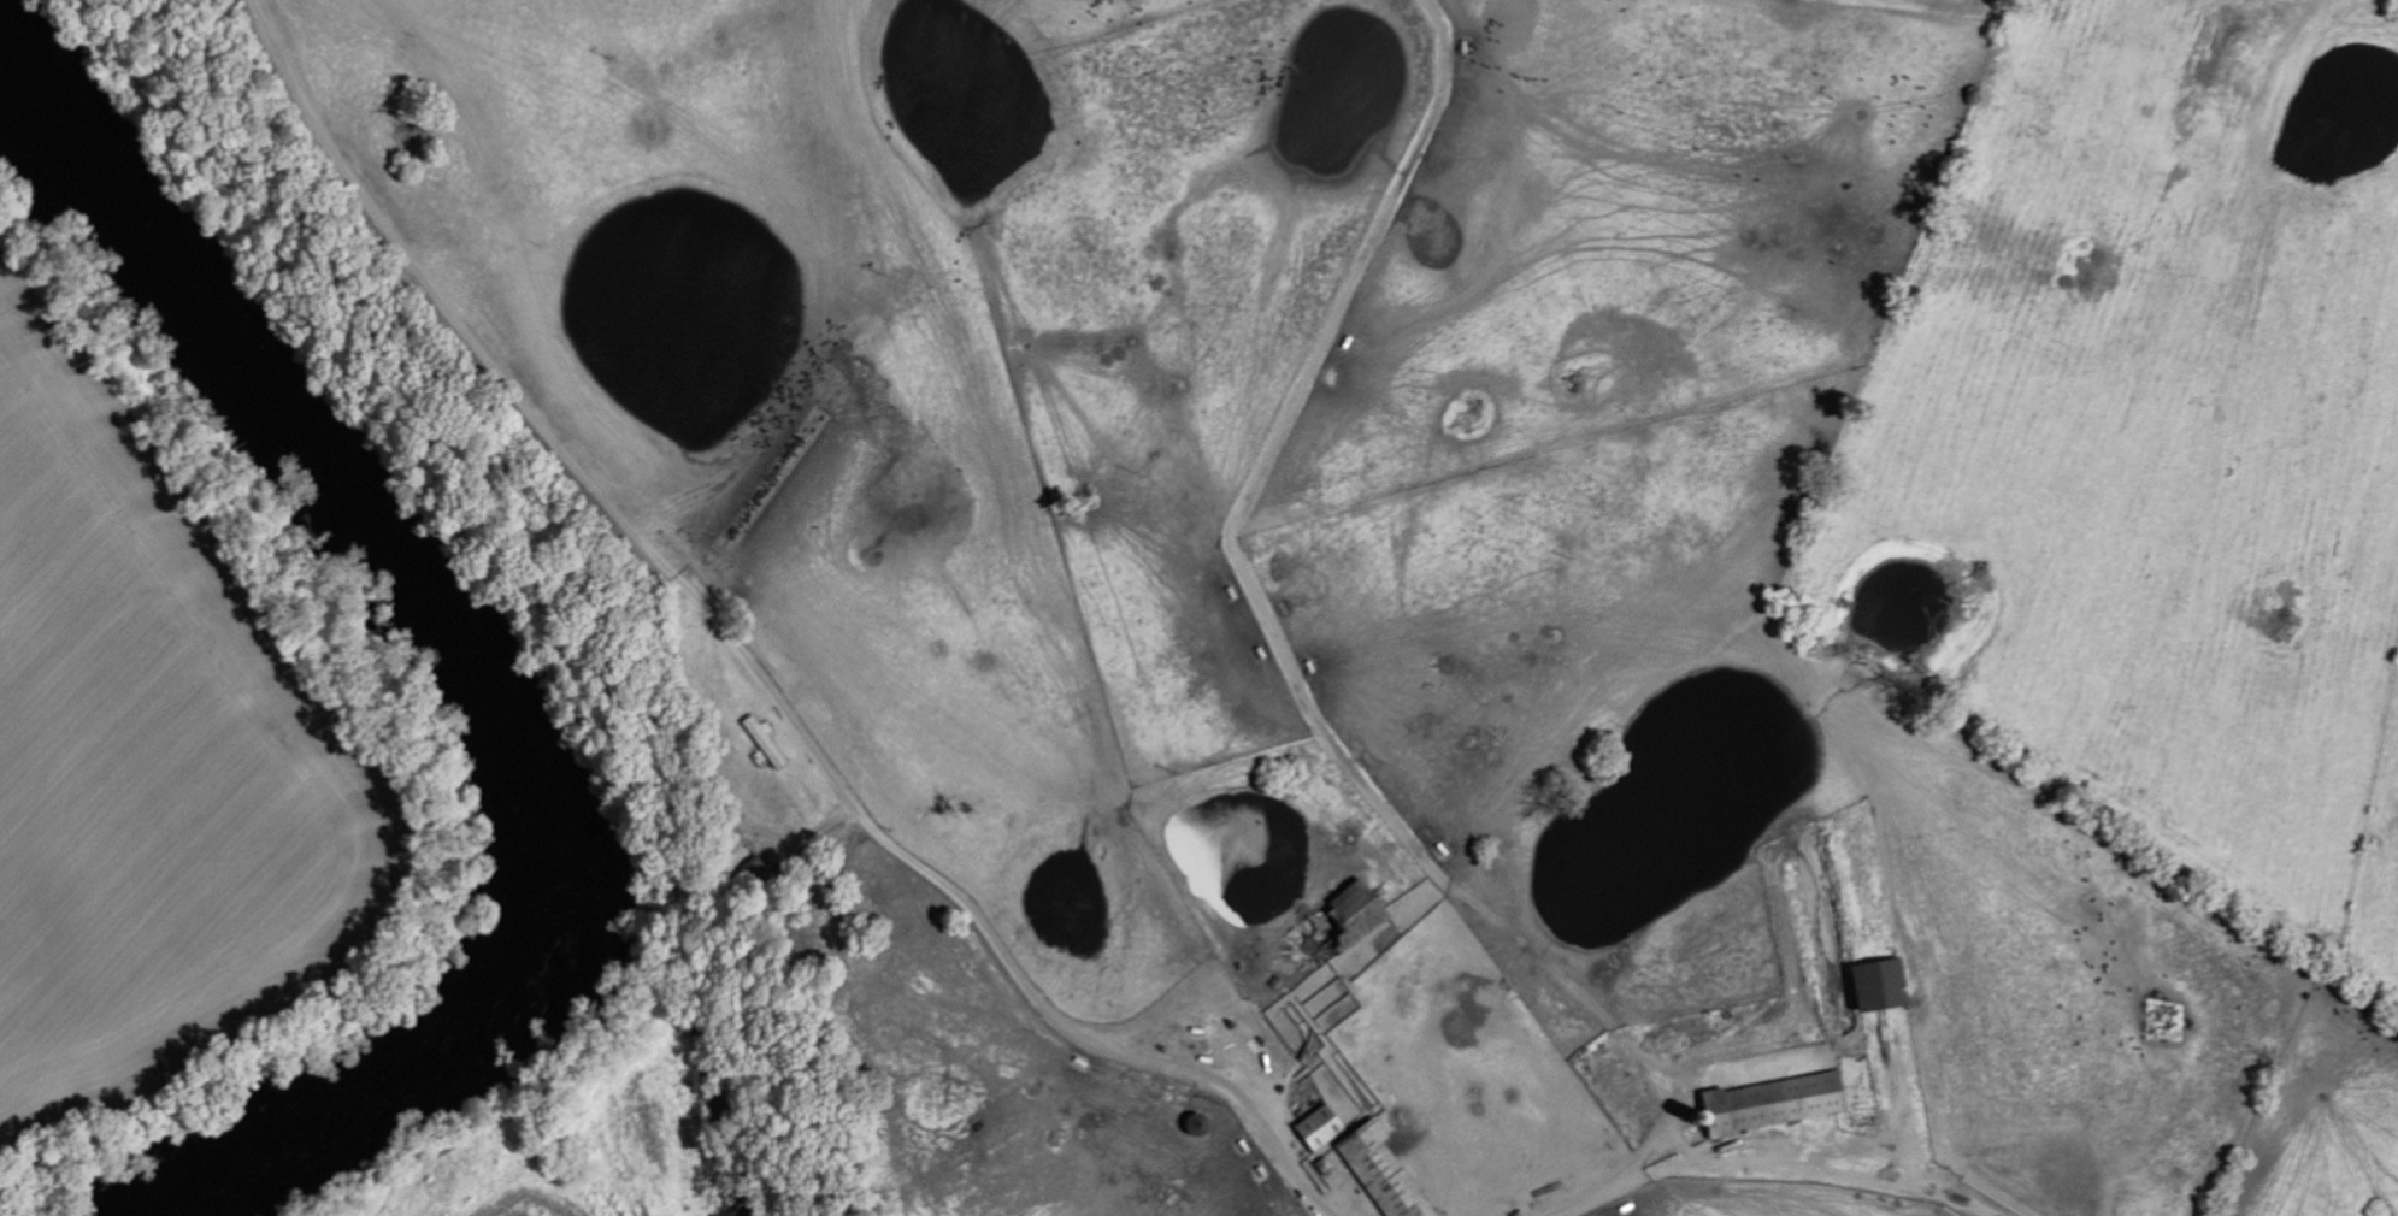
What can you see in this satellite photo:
road: (746, 663)
river: (423, 684)
building: (1345, 914)
building: (1875, 982)
building: (1770, 1100)
building: (1315, 1126)
building: (1379, 1170)
road: (1614, 1177)

